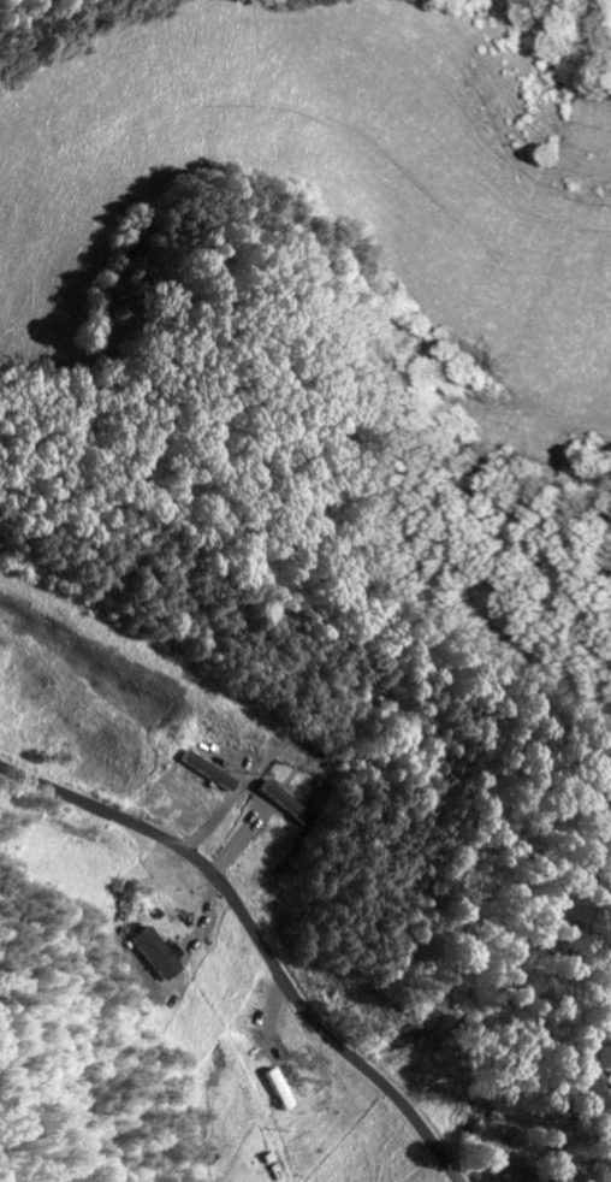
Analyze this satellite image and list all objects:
building: (203, 770)
building: (285, 803)
road: (257, 936)
building: (158, 953)

